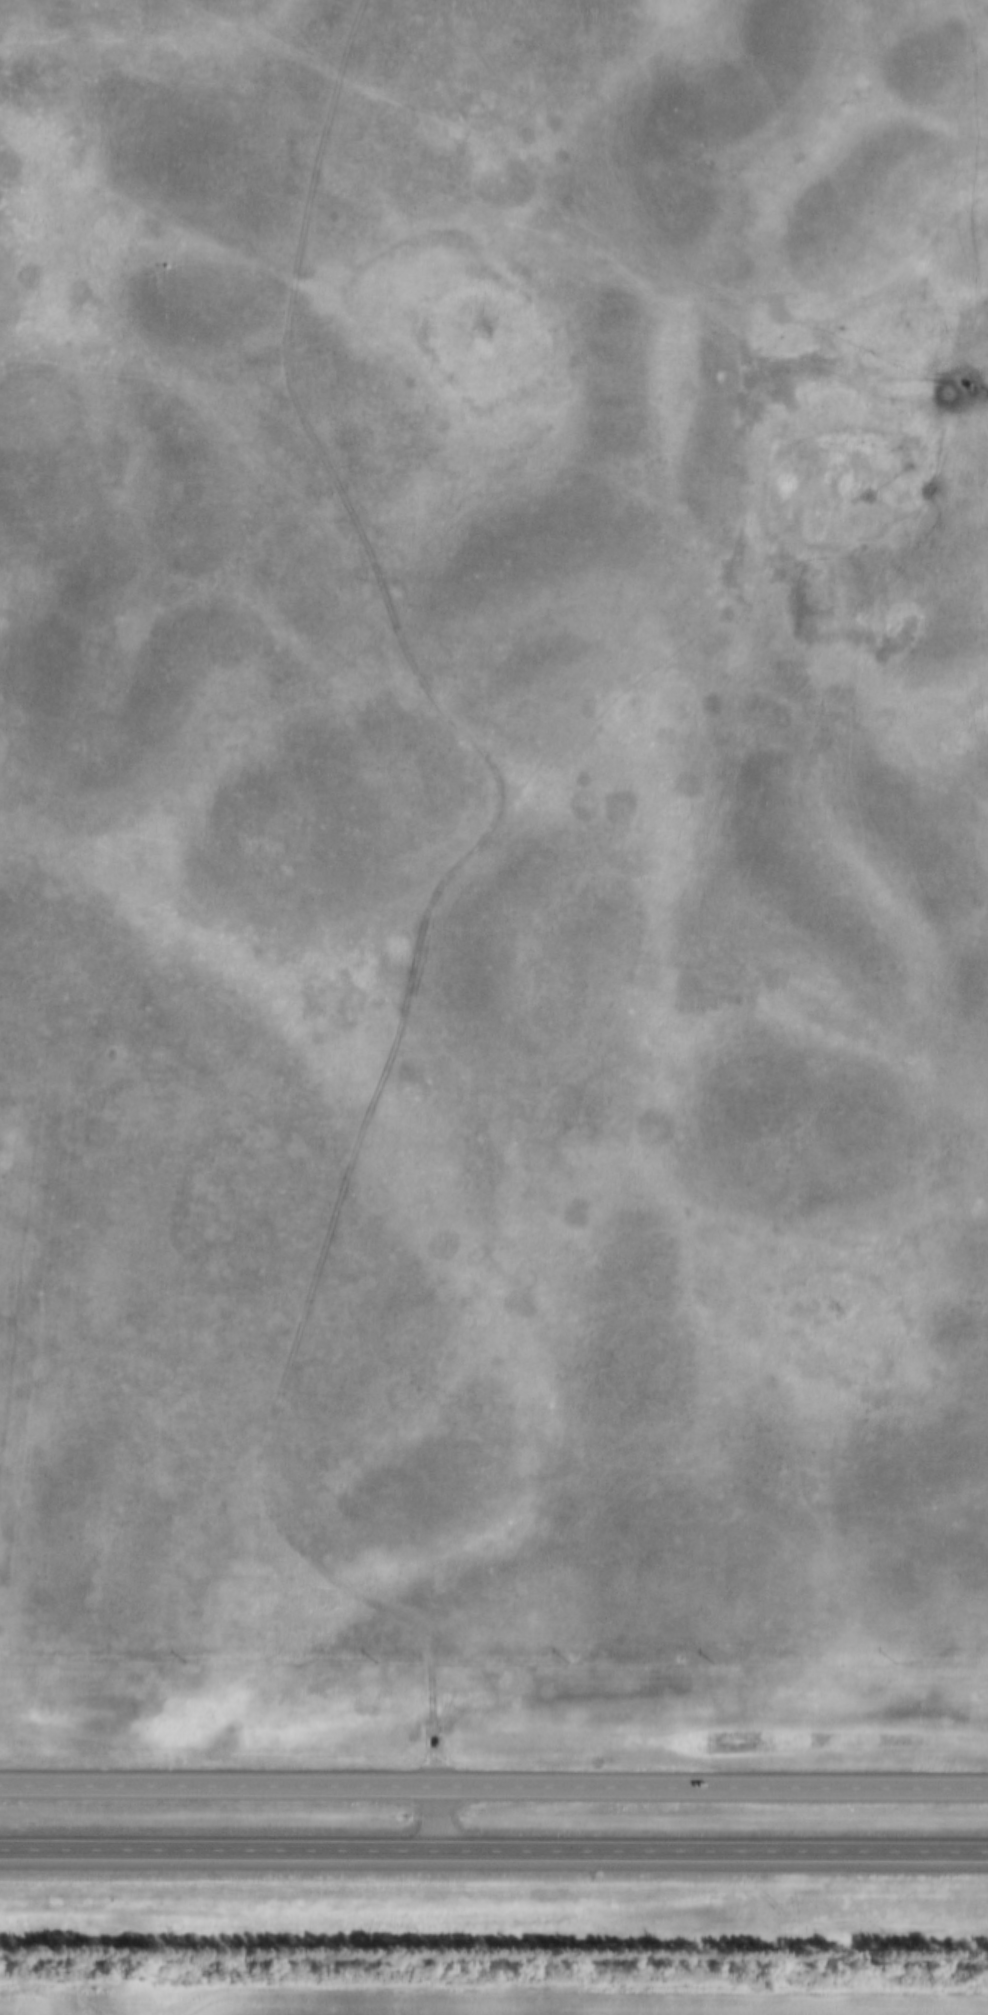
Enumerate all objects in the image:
road: (436, 901)
road: (493, 1789)
road: (434, 1818)
road: (494, 1848)

